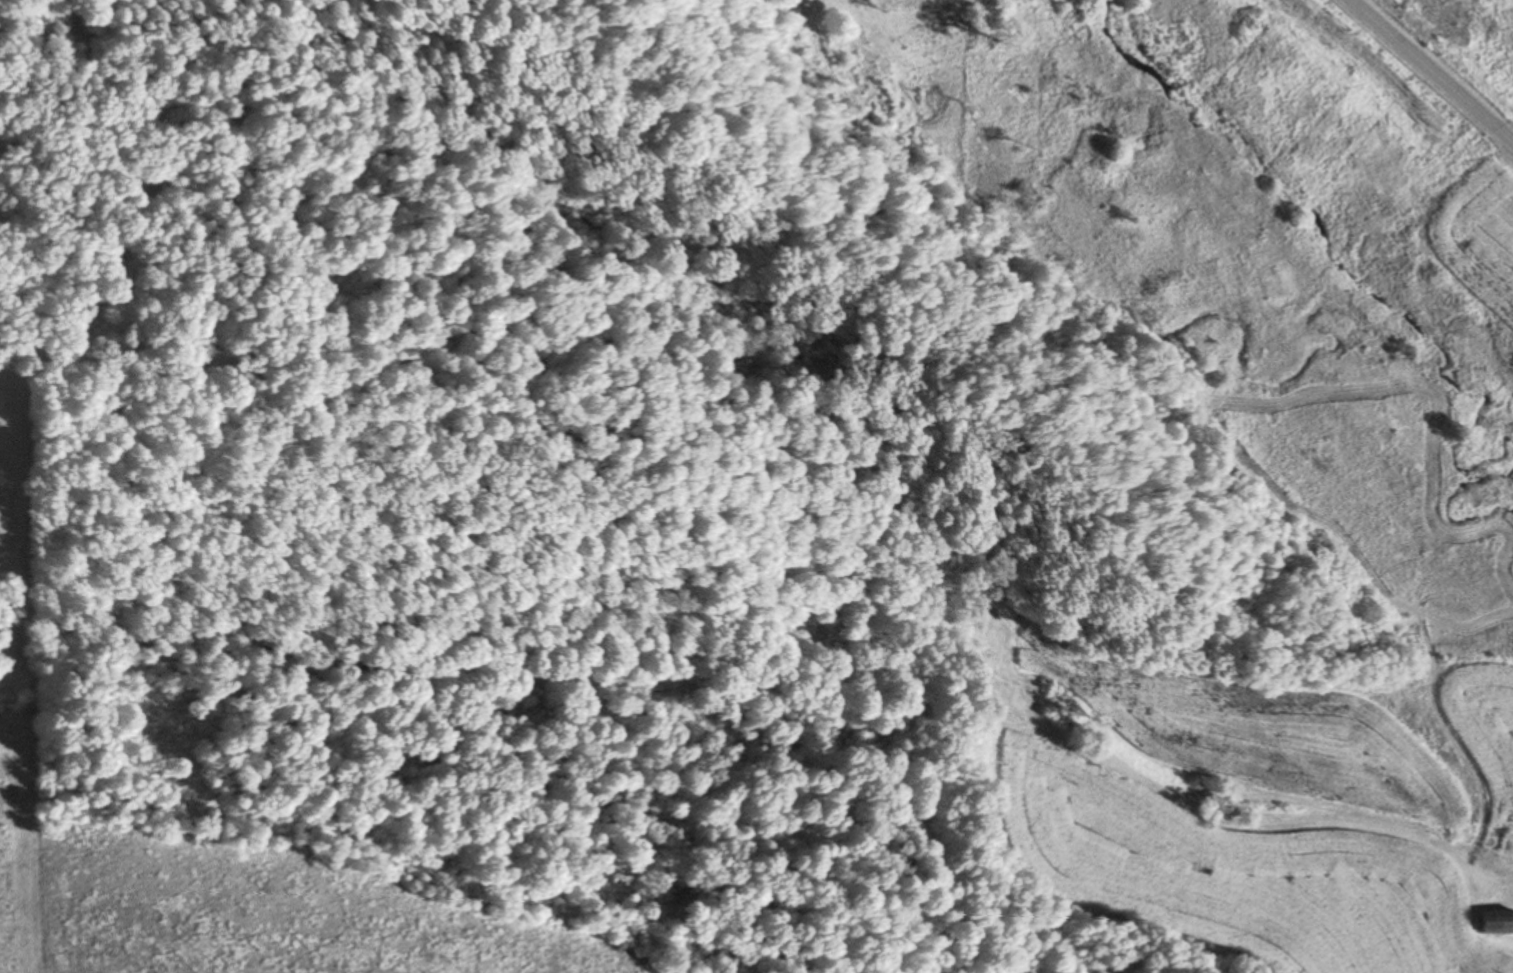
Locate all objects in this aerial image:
crop: (926, 5)
road: (1433, 68)
crop: (271, 919)
building: (1494, 921)

